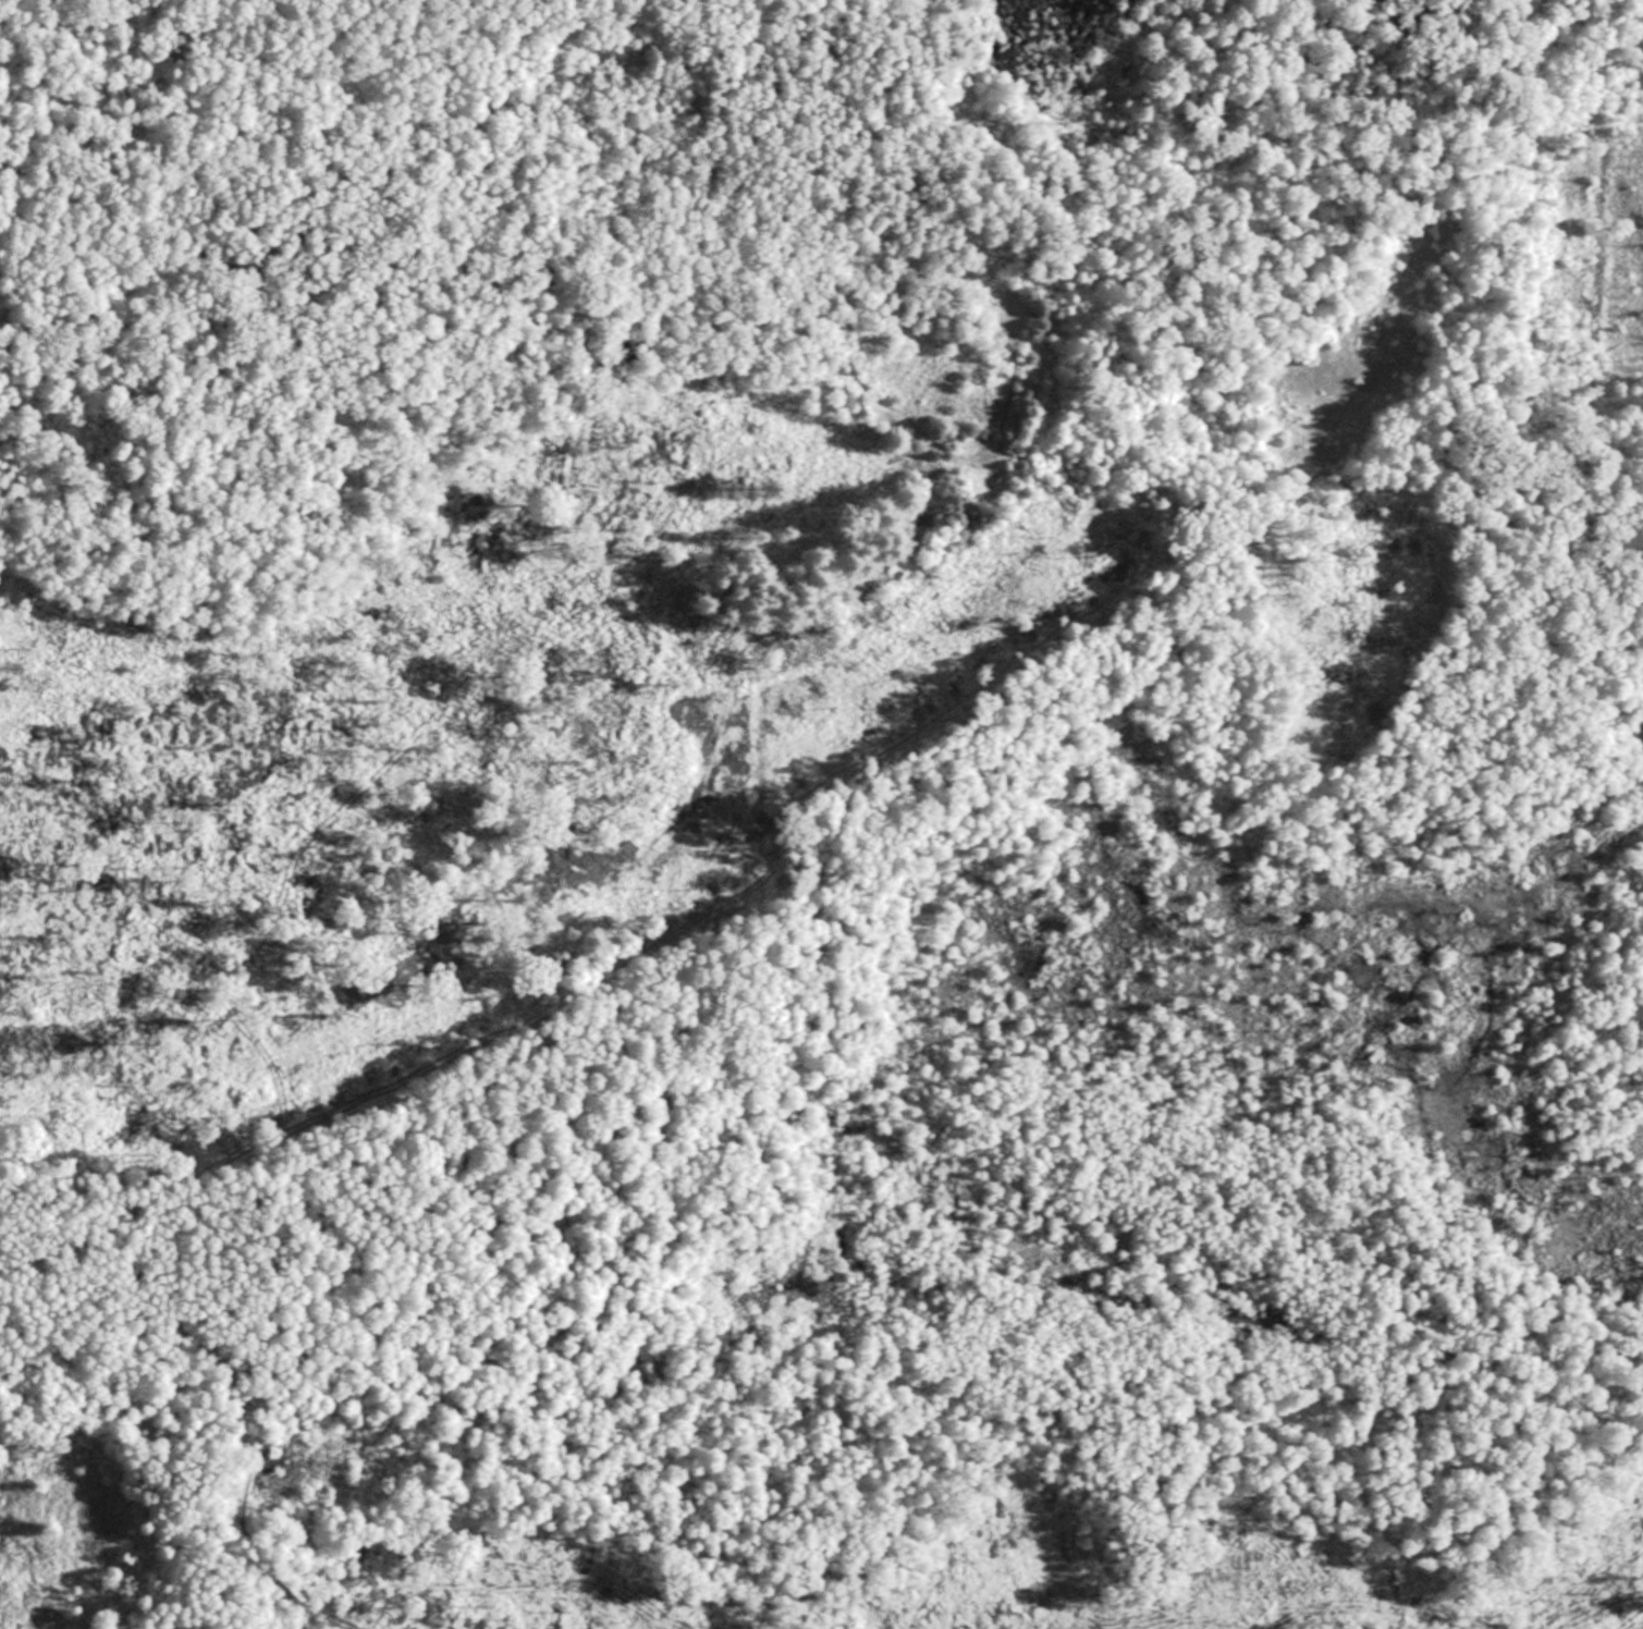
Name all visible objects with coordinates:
park: (821, 814)

